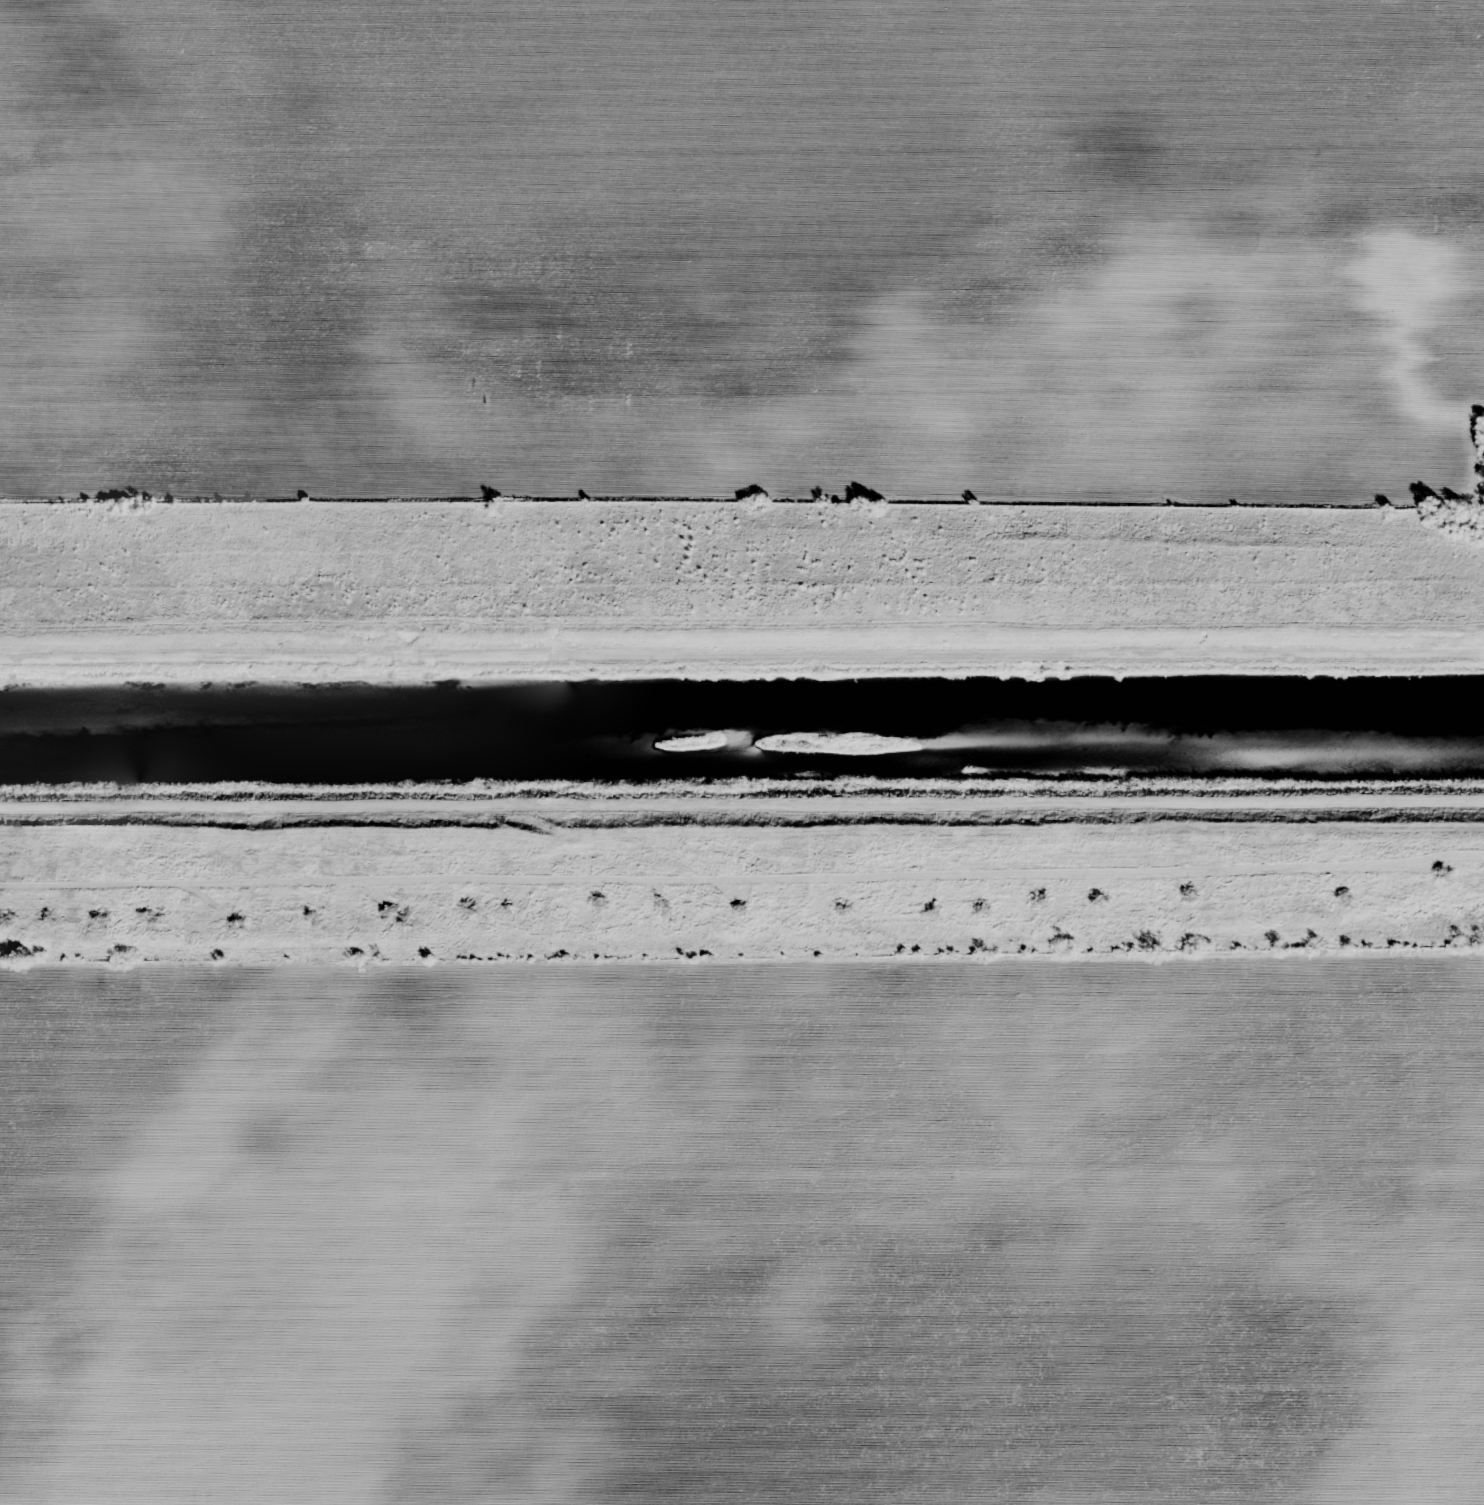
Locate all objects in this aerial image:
road: (742, 1189)

